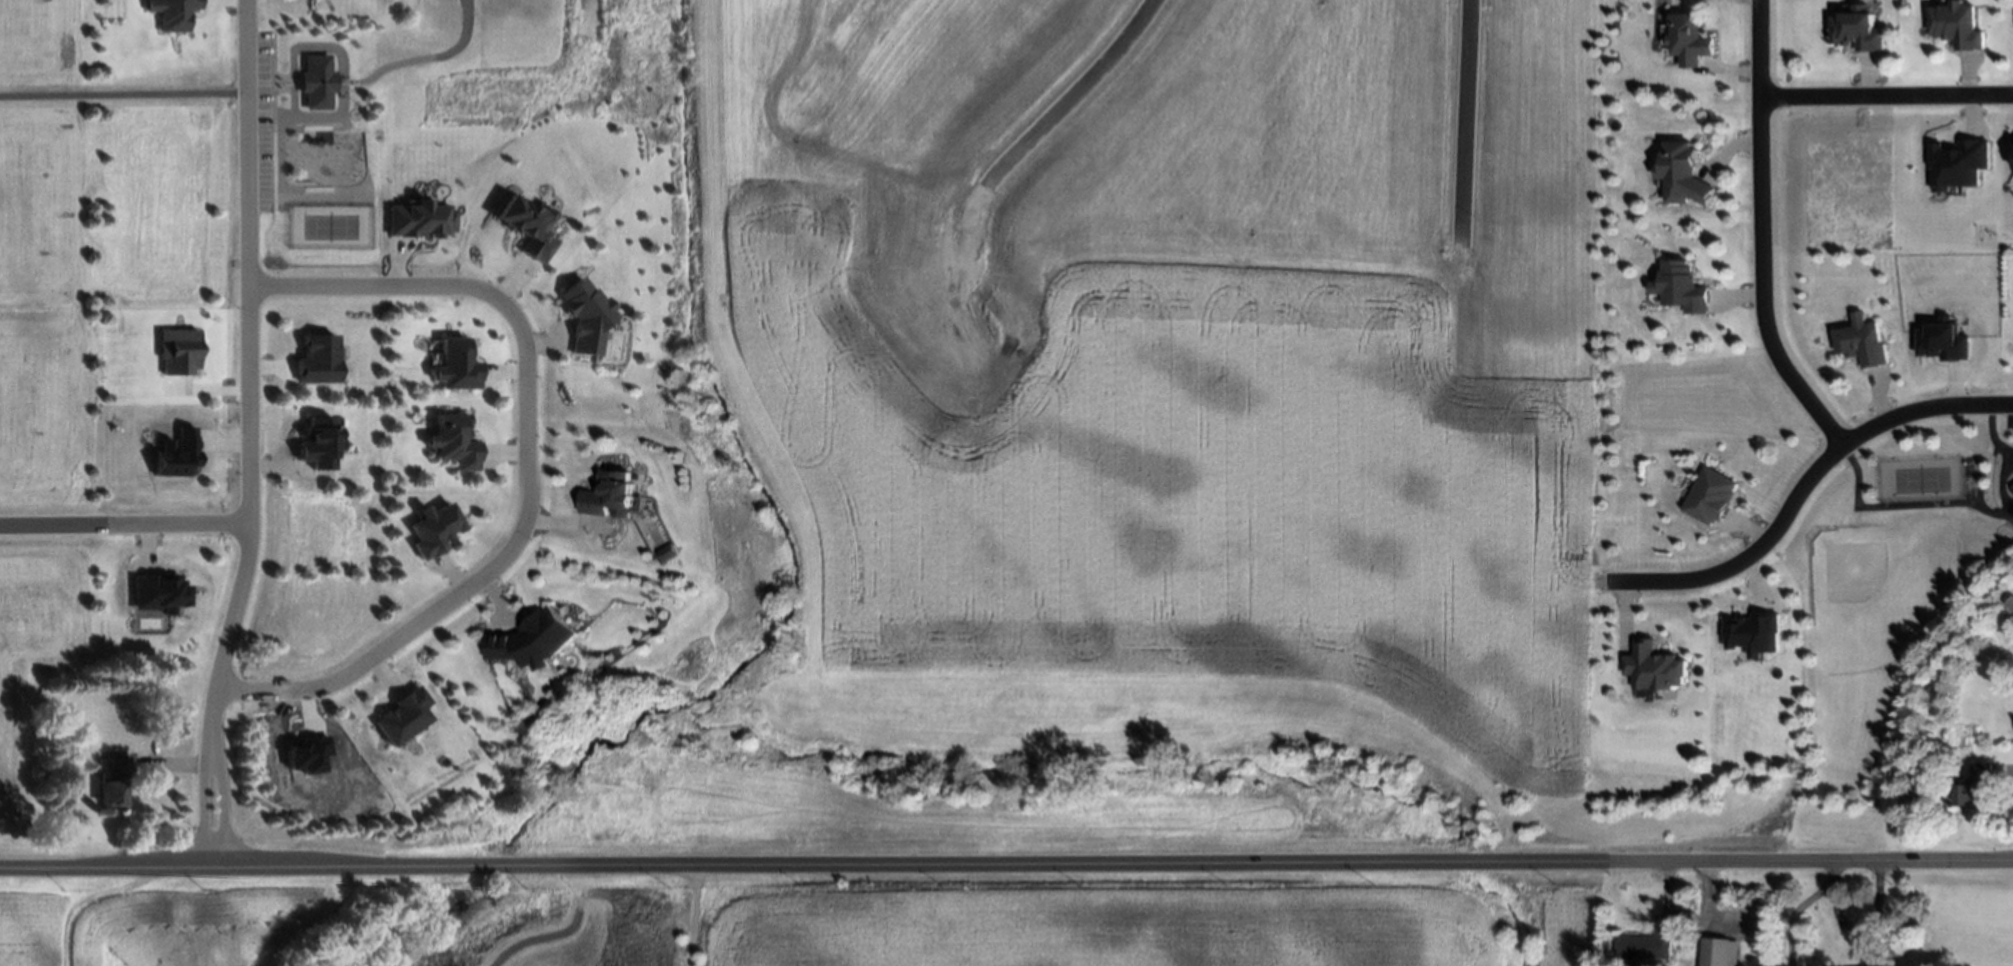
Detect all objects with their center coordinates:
building: (173, 13)
building: (1957, 24)
building: (1855, 26)
building: (1690, 38)
building: (318, 80)
road: (1079, 84)
road: (124, 94)
road: (1886, 96)
road: (1460, 117)
building: (1957, 165)
building: (1685, 173)
building: (419, 220)
building: (528, 227)
road: (1760, 235)
building: (1684, 286)
building: (587, 317)
building: (1861, 340)
building: (1943, 343)
building: (178, 353)
building: (318, 360)
building: (458, 366)
road: (249, 375)
building: (456, 442)
building: (321, 443)
building: (178, 454)
road: (525, 471)
road: (1801, 487)
building: (2012, 487)
building: (2012, 488)
building: (610, 494)
building: (1712, 498)
road: (125, 521)
building: (436, 530)
building: (665, 554)
building: (158, 594)
building: (2011, 605)
park: (1889, 607)
building: (1754, 635)
building: (532, 641)
building: (1655, 668)
building: (403, 718)
road: (2009, 766)
building: (113, 780)
building: (1976, 786)
road: (203, 806)
road: (223, 807)
road: (1006, 866)
road: (89, 900)
crop: (154, 925)
road: (1851, 927)
road: (520, 939)
building: (1646, 946)
building: (1720, 952)
building: (1874, 959)

